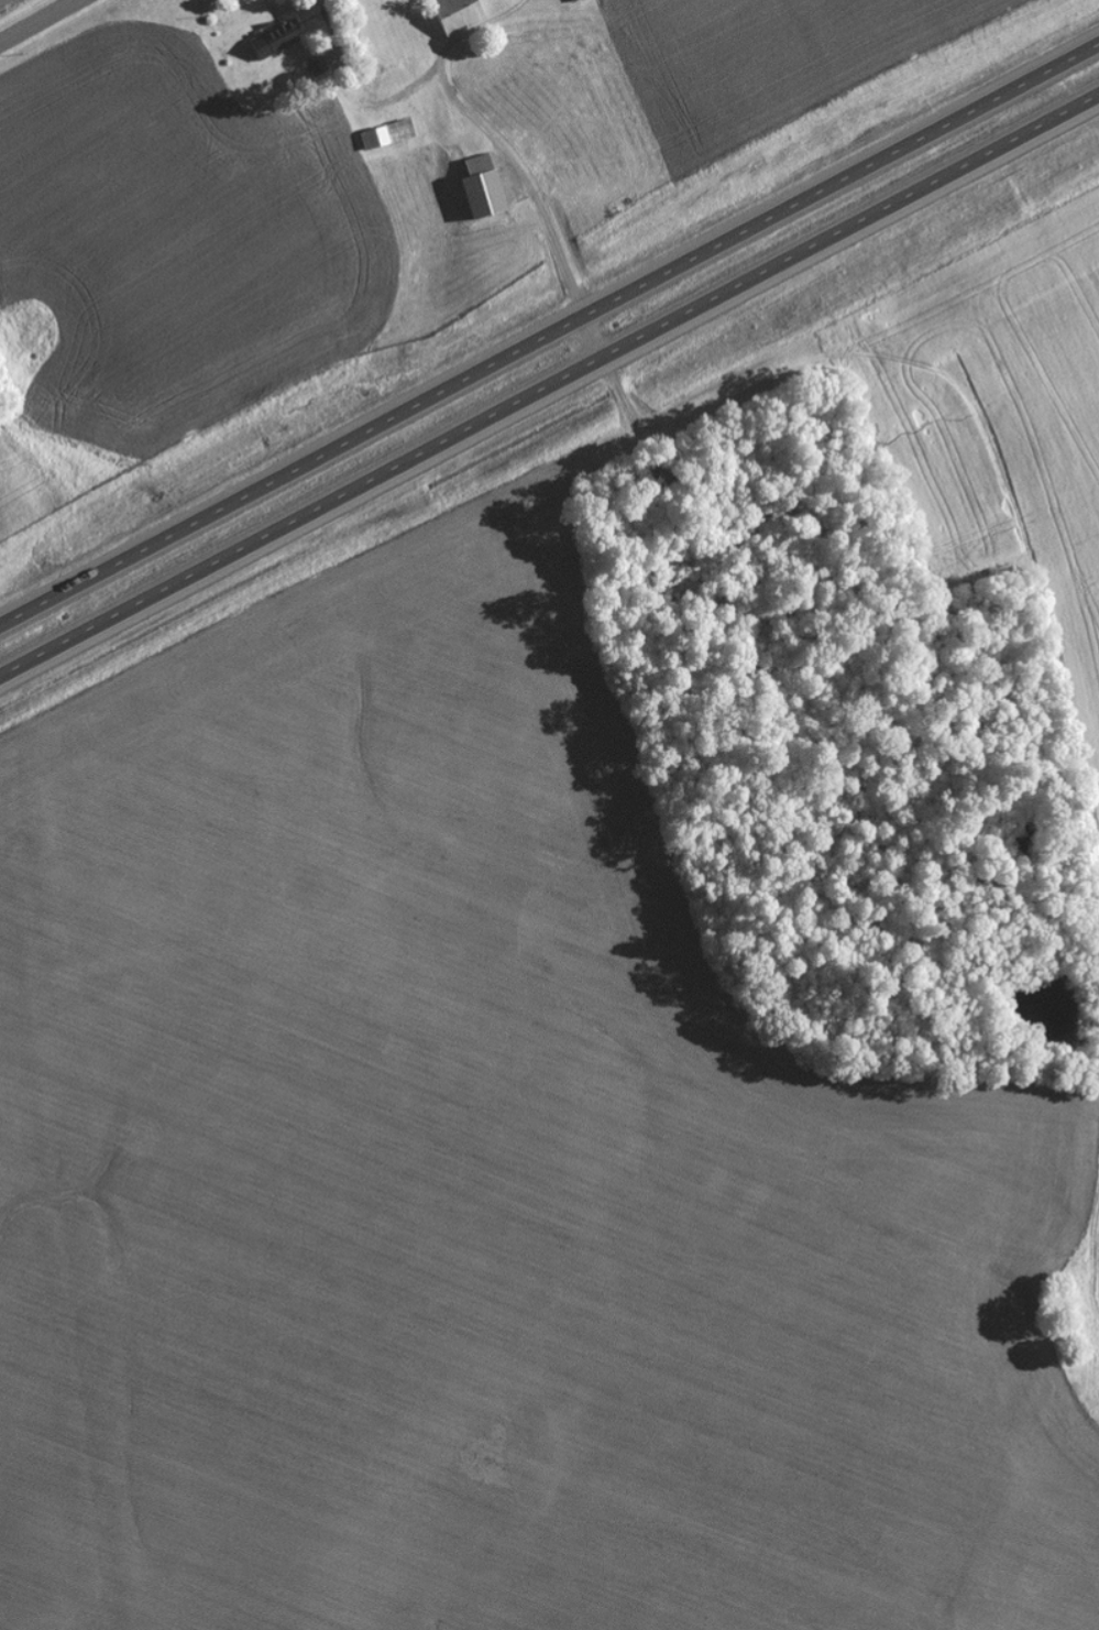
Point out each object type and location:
building: (573, 1)
building: (461, 14)
road: (34, 19)
building: (278, 41)
building: (388, 135)
building: (487, 188)
road: (550, 335)
road: (549, 386)

